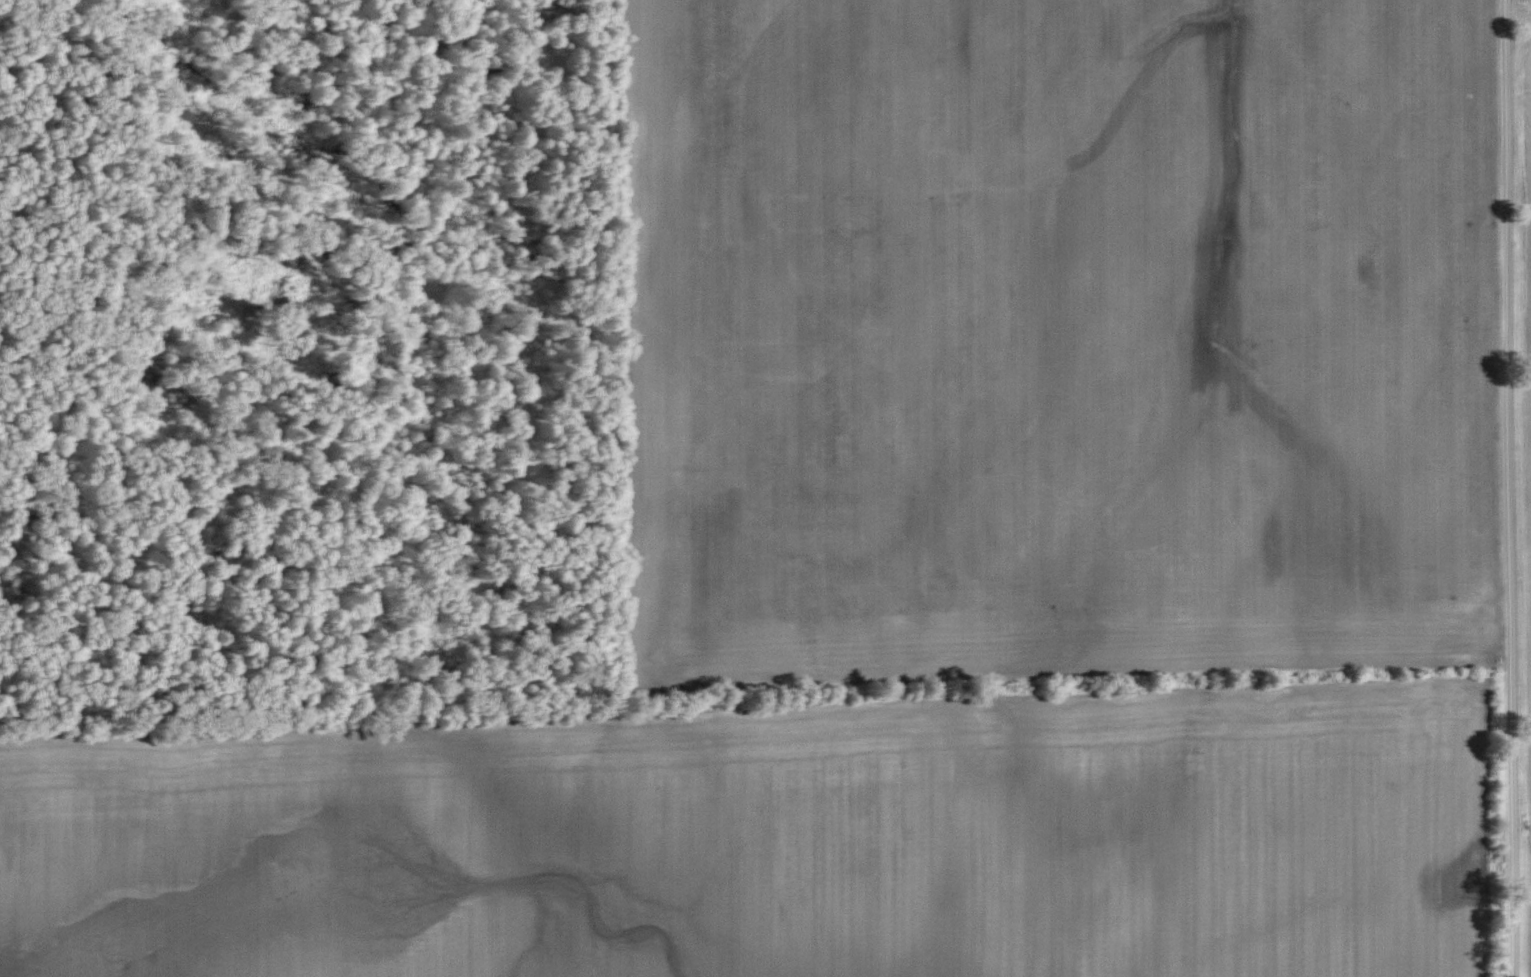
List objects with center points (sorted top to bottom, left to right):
road: (1504, 488)

